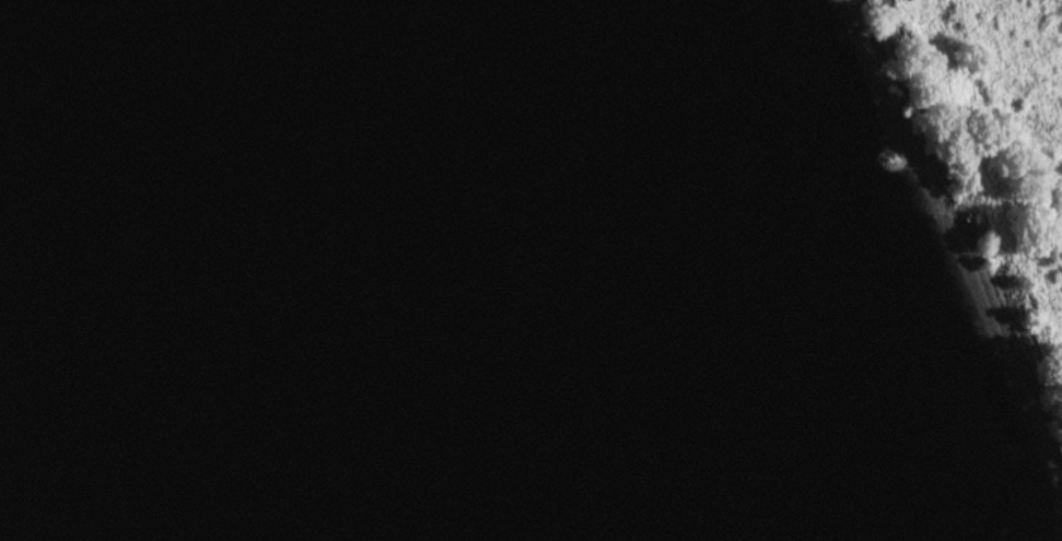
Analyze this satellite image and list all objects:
river: (342, 270)

